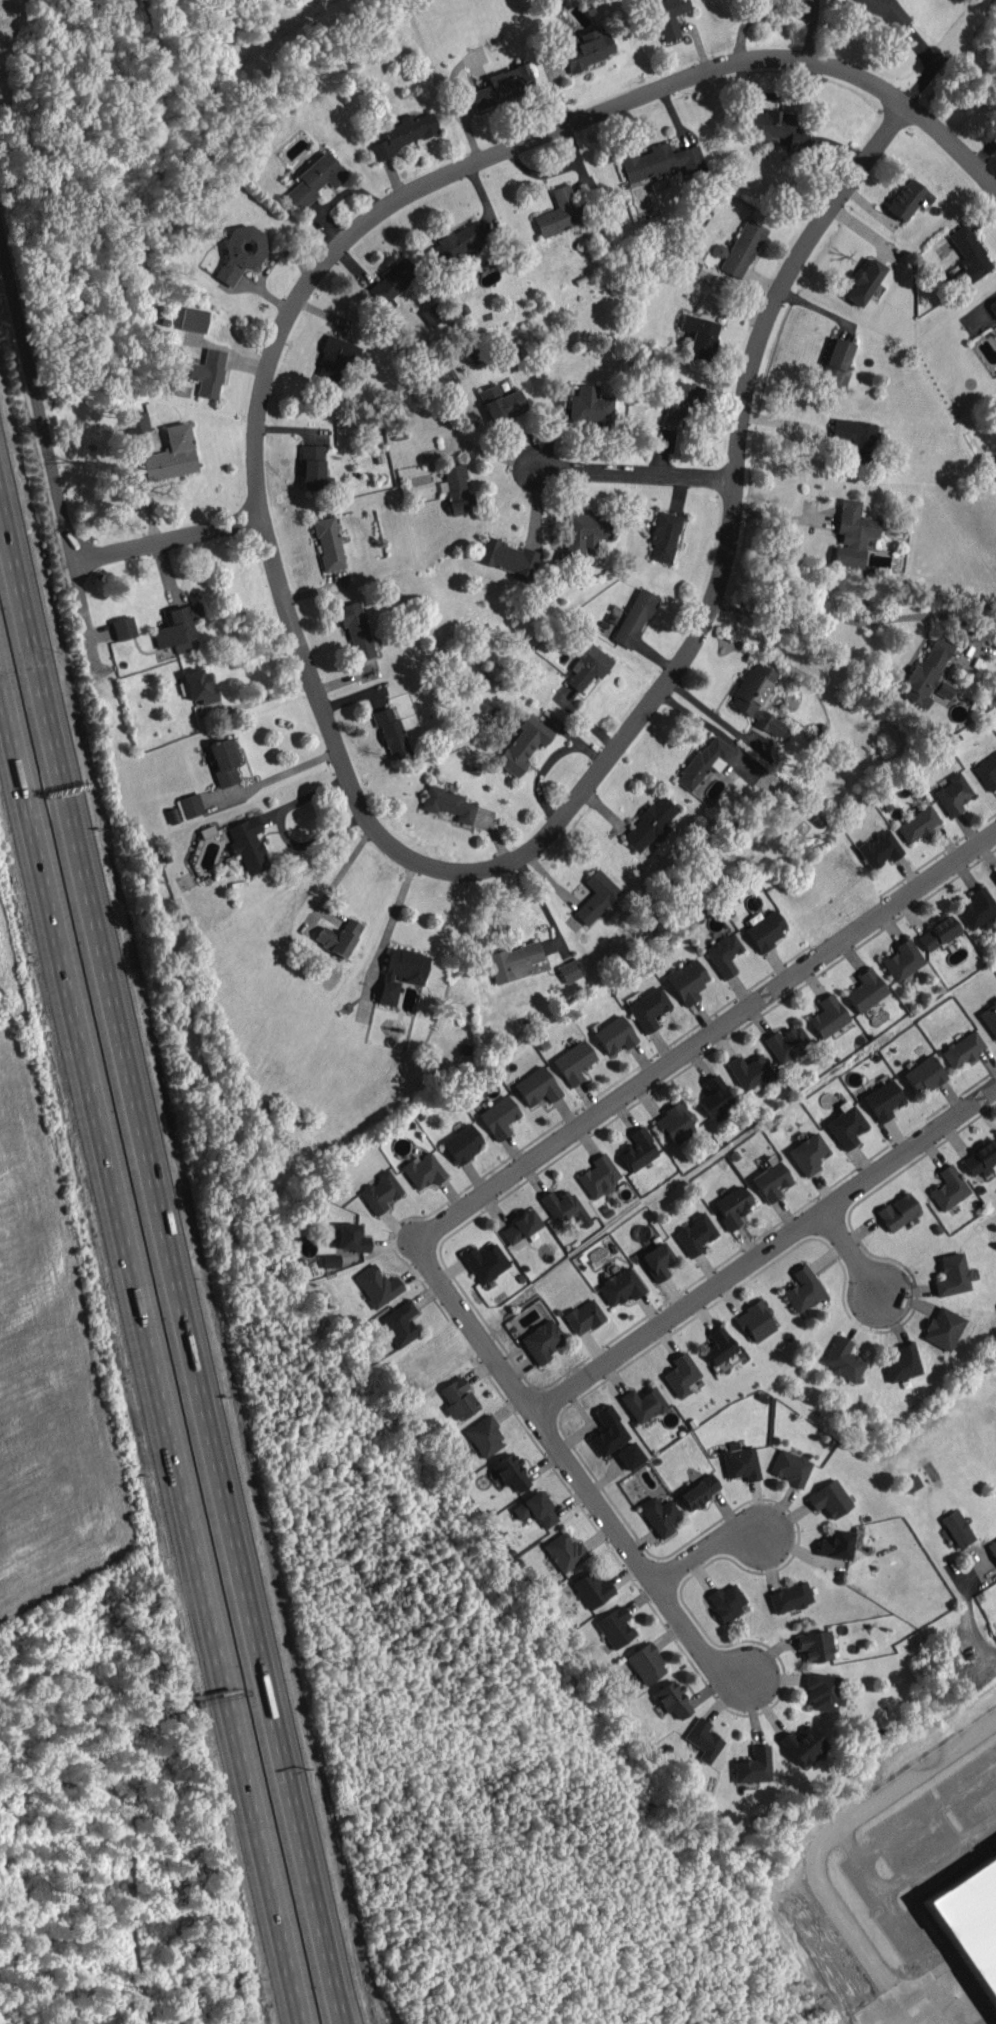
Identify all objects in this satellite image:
building: (880, 9)
building: (668, 16)
building: (586, 48)
road: (932, 70)
building: (501, 86)
building: (776, 129)
building: (402, 134)
road: (952, 145)
building: (660, 161)
road: (478, 162)
building: (314, 179)
building: (906, 198)
building: (561, 211)
building: (456, 243)
building: (742, 248)
building: (718, 250)
building: (240, 252)
building: (968, 254)
building: (863, 282)
building: (391, 283)
building: (993, 307)
building: (429, 315)
building: (193, 319)
building: (699, 335)
building: (420, 338)
building: (333, 361)
building: (835, 362)
building: (208, 372)
building: (678, 401)
building: (500, 403)
building: (589, 405)
building: (135, 422)
building: (855, 437)
road: (831, 439)
building: (170, 455)
building: (995, 458)
road: (50, 460)
building: (311, 466)
road: (634, 476)
building: (456, 488)
road: (781, 517)
building: (585, 531)
building: (853, 533)
building: (663, 536)
road: (167, 538)
building: (328, 543)
building: (508, 558)
building: (634, 617)
road: (849, 619)
building: (123, 627)
building: (176, 628)
building: (355, 628)
building: (995, 647)
building: (587, 666)
building: (928, 674)
building: (197, 686)
building: (757, 699)
road: (639, 718)
building: (391, 732)
building: (523, 743)
building: (223, 760)
building: (703, 761)
building: (987, 771)
road: (274, 777)
building: (953, 793)
building: (447, 803)
building: (190, 805)
building: (649, 823)
building: (917, 823)
road: (281, 828)
building: (247, 844)
building: (878, 848)
building: (994, 876)
building: (595, 896)
road: (97, 905)
building: (976, 907)
road: (45, 919)
building: (765, 929)
building: (937, 932)
building: (338, 937)
building: (723, 954)
building: (902, 959)
building: (512, 961)
building: (569, 970)
building: (400, 972)
building: (686, 980)
building: (865, 989)
building: (648, 1008)
building: (827, 1016)
building: (989, 1017)
building: (614, 1035)
building: (786, 1043)
building: (962, 1049)
building: (573, 1061)
building: (748, 1071)
building: (923, 1074)
building: (536, 1086)
building: (713, 1096)
building: (883, 1100)
building: (498, 1116)
building: (673, 1122)
building: (845, 1127)
building: (462, 1143)
building: (637, 1150)
building: (807, 1153)
building: (980, 1158)
building: (422, 1170)
building: (598, 1176)
building: (770, 1180)
building: (948, 1188)
building: (379, 1191)
road: (480, 1201)
building: (563, 1206)
building: (731, 1206)
building: (897, 1211)
building: (519, 1226)
building: (694, 1234)
building: (351, 1237)
road: (765, 1253)
road: (853, 1254)
building: (329, 1260)
building: (656, 1260)
building: (484, 1262)
building: (952, 1275)
building: (377, 1285)
building: (619, 1285)
building: (802, 1289)
building: (583, 1316)
building: (755, 1320)
building: (399, 1323)
building: (942, 1328)
building: (541, 1341)
building: (718, 1345)
building: (842, 1359)
building: (901, 1363)
building: (680, 1374)
building: (458, 1398)
building: (642, 1403)
building: (608, 1431)
building: (484, 1436)
building: (629, 1455)
building: (740, 1463)
building: (791, 1467)
building: (510, 1472)
building: (911, 1482)
building: (697, 1490)
building: (829, 1498)
building: (535, 1509)
building: (659, 1515)
building: (956, 1528)
building: (835, 1544)
building: (992, 1548)
road: (705, 1549)
building: (564, 1551)
road: (191, 1569)
building: (591, 1589)
building: (789, 1597)
building: (726, 1601)
road: (972, 1623)
building: (615, 1627)
building: (814, 1645)
building: (646, 1663)
road: (268, 1680)
building: (822, 1691)
building: (672, 1699)
building: (703, 1739)
building: (802, 1744)
building: (753, 1765)
road: (822, 1843)
building: (977, 1899)

